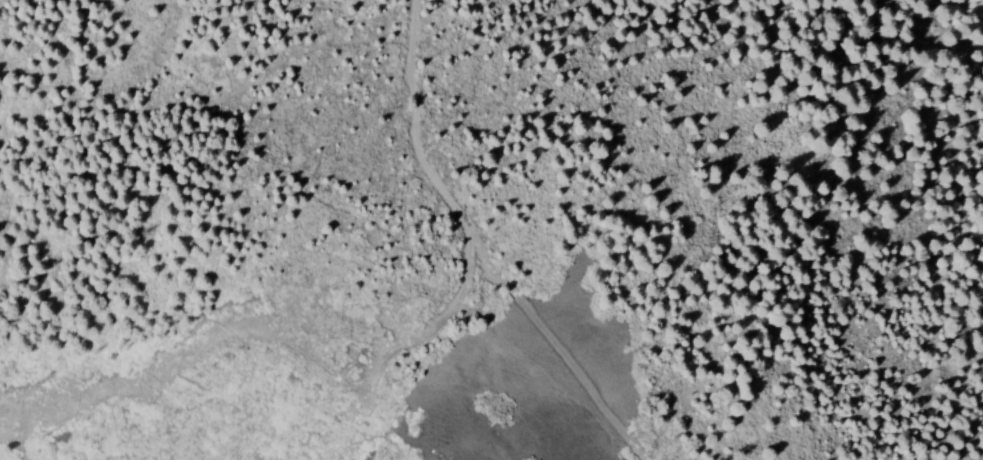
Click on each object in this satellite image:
road: (962, 184)

